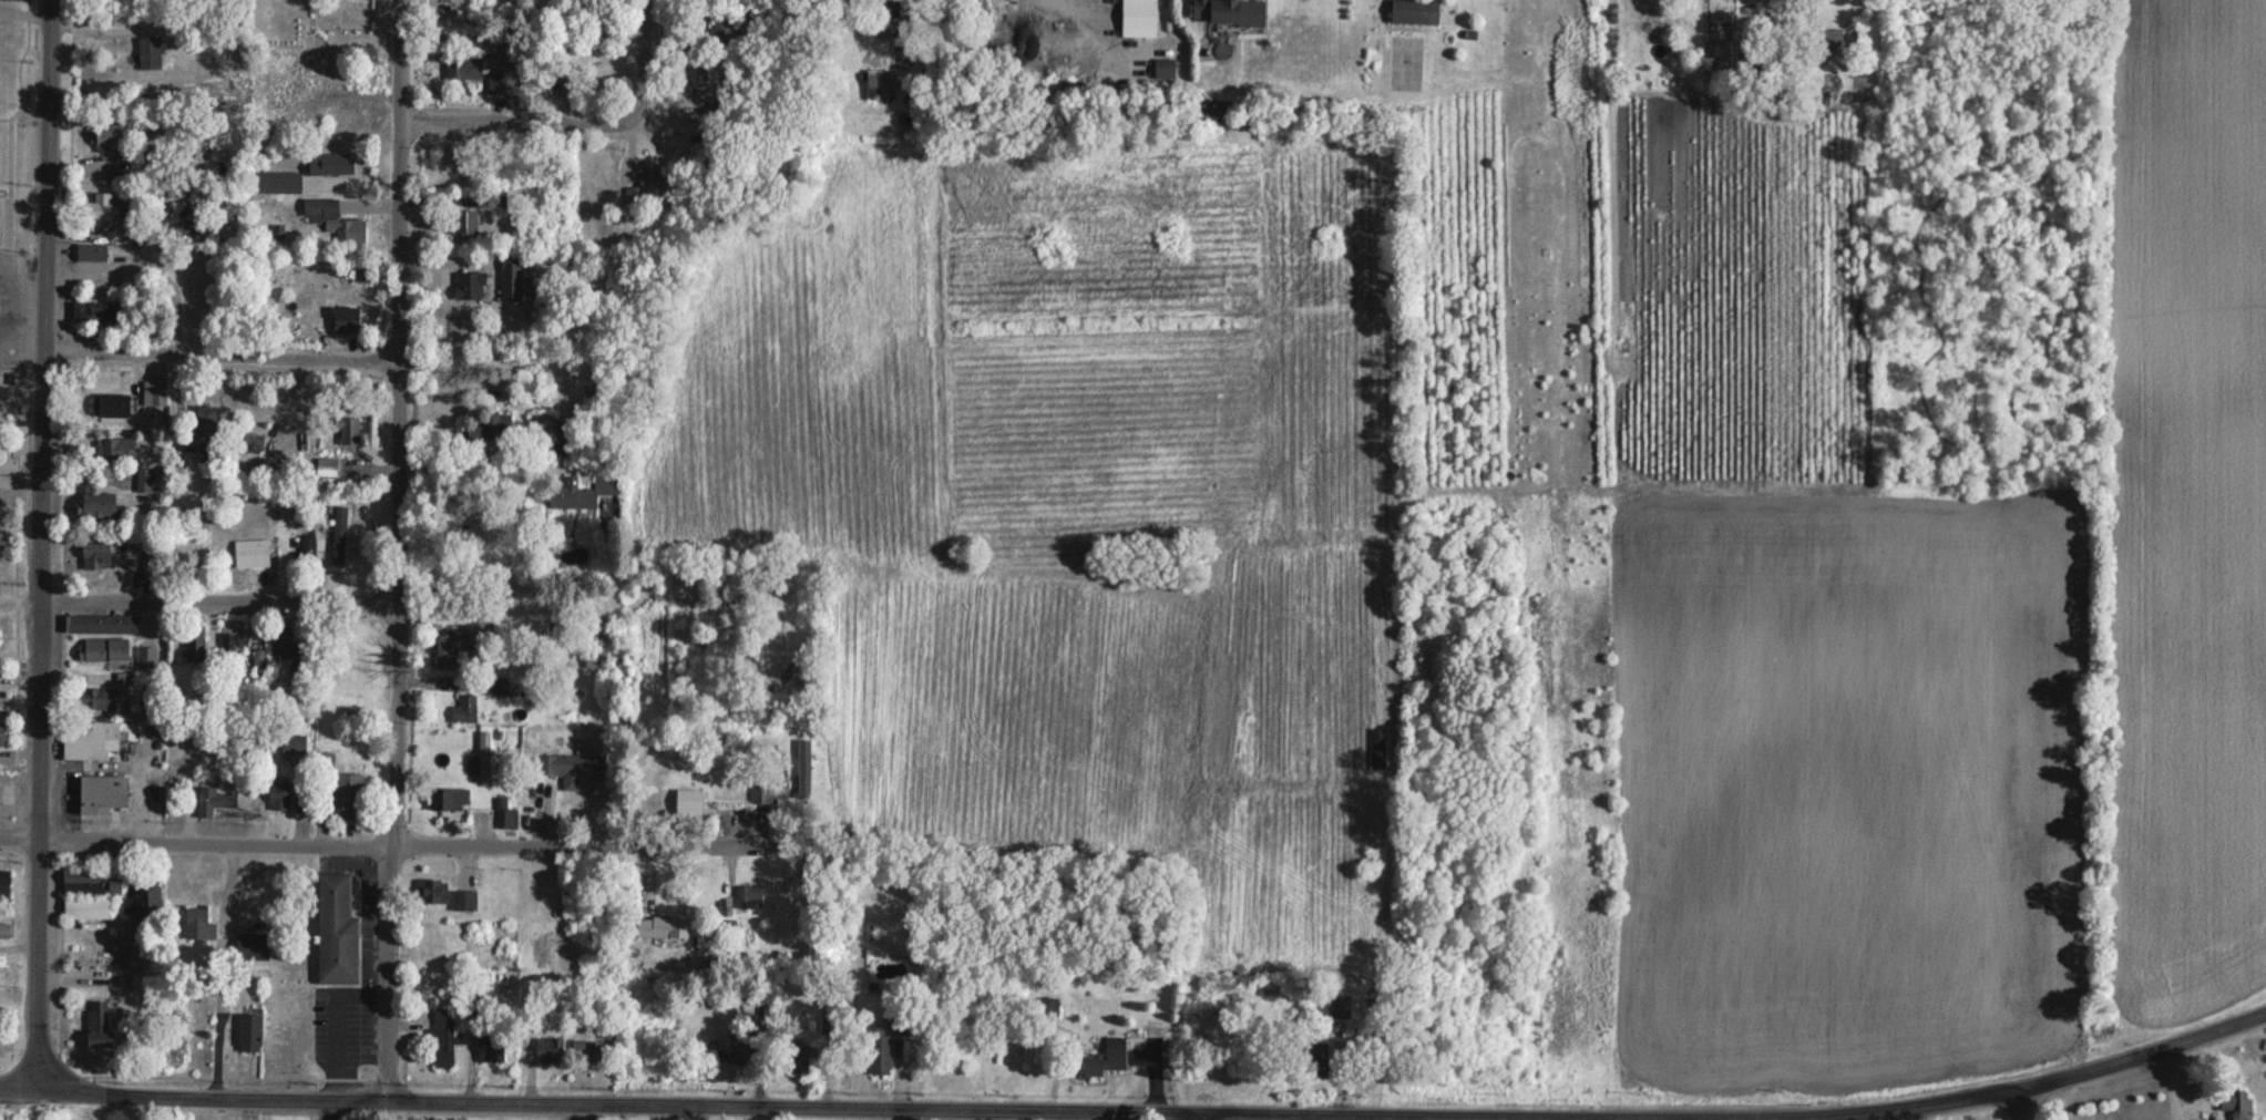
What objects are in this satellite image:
building: (891, 4)
building: (1216, 10)
building: (1414, 11)
building: (1138, 16)
road: (1085, 23)
building: (726, 31)
building: (1828, 38)
building: (1724, 51)
building: (150, 53)
road: (640, 59)
building: (462, 68)
building: (698, 78)
building: (495, 82)
building: (879, 82)
road: (519, 129)
building: (105, 134)
building: (337, 163)
building: (269, 182)
building: (647, 182)
building: (109, 204)
building: (322, 210)
building: (221, 215)
building: (465, 222)
building: (91, 251)
road: (24, 271)
building: (511, 280)
building: (470, 285)
road: (17, 301)
road: (38, 301)
building: (95, 312)
building: (345, 319)
road: (20, 346)
road: (218, 362)
road: (512, 366)
building: (155, 392)
building: (111, 404)
building: (206, 420)
building: (492, 428)
building: (346, 430)
building: (114, 449)
building: (145, 481)
building: (580, 491)
building: (95, 504)
road: (38, 549)
building: (252, 554)
building: (95, 555)
road: (396, 559)
road: (325, 609)
building: (102, 624)
building: (234, 641)
building: (281, 641)
building: (194, 643)
building: (450, 647)
building: (103, 649)
building: (152, 657)
building: (595, 658)
building: (100, 698)
building: (464, 708)
building: (1, 733)
building: (95, 739)
building: (294, 742)
building: (1377, 748)
building: (484, 757)
building: (572, 770)
building: (778, 791)
building: (102, 792)
building: (349, 795)
building: (277, 798)
building: (450, 798)
building: (213, 800)
building: (505, 814)
road: (368, 852)
road: (1408, 869)
building: (4, 884)
building: (431, 890)
building: (748, 896)
building: (144, 901)
building: (86, 906)
building: (195, 924)
building: (662, 926)
building: (4, 929)
building: (336, 929)
building: (252, 945)
building: (4, 972)
building: (1337, 1006)
building: (98, 1023)
building: (250, 1031)
building: (444, 1036)
building: (550, 1049)
building: (879, 1049)
building: (586, 1050)
building: (490, 1052)
building: (737, 1054)
building: (796, 1057)
building: (1104, 1058)
building: (1314, 1058)
road: (2074, 1083)
road: (2178, 1087)
road: (18, 1100)
road: (2068, 1102)
road: (2023, 1108)
road: (38, 1110)
road: (532, 1111)
road: (914, 1119)

